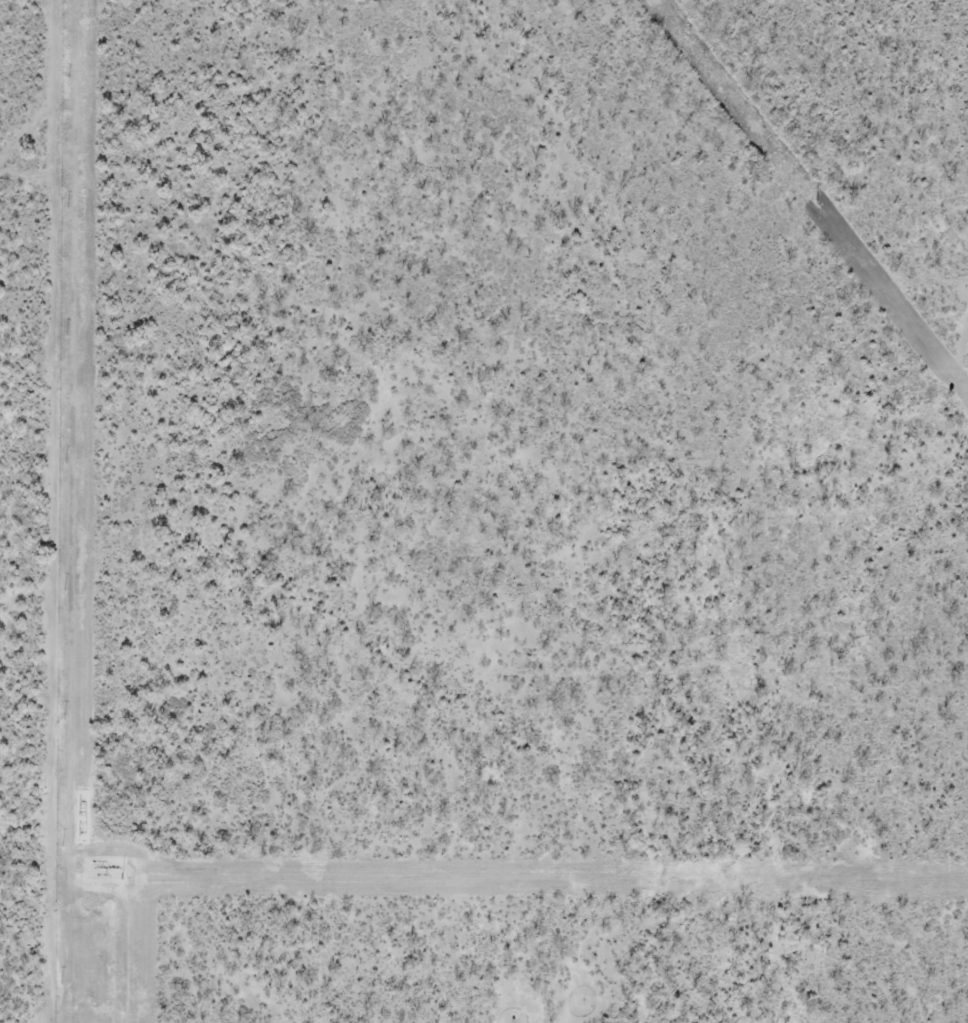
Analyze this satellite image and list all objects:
power tower: (817, 204)

